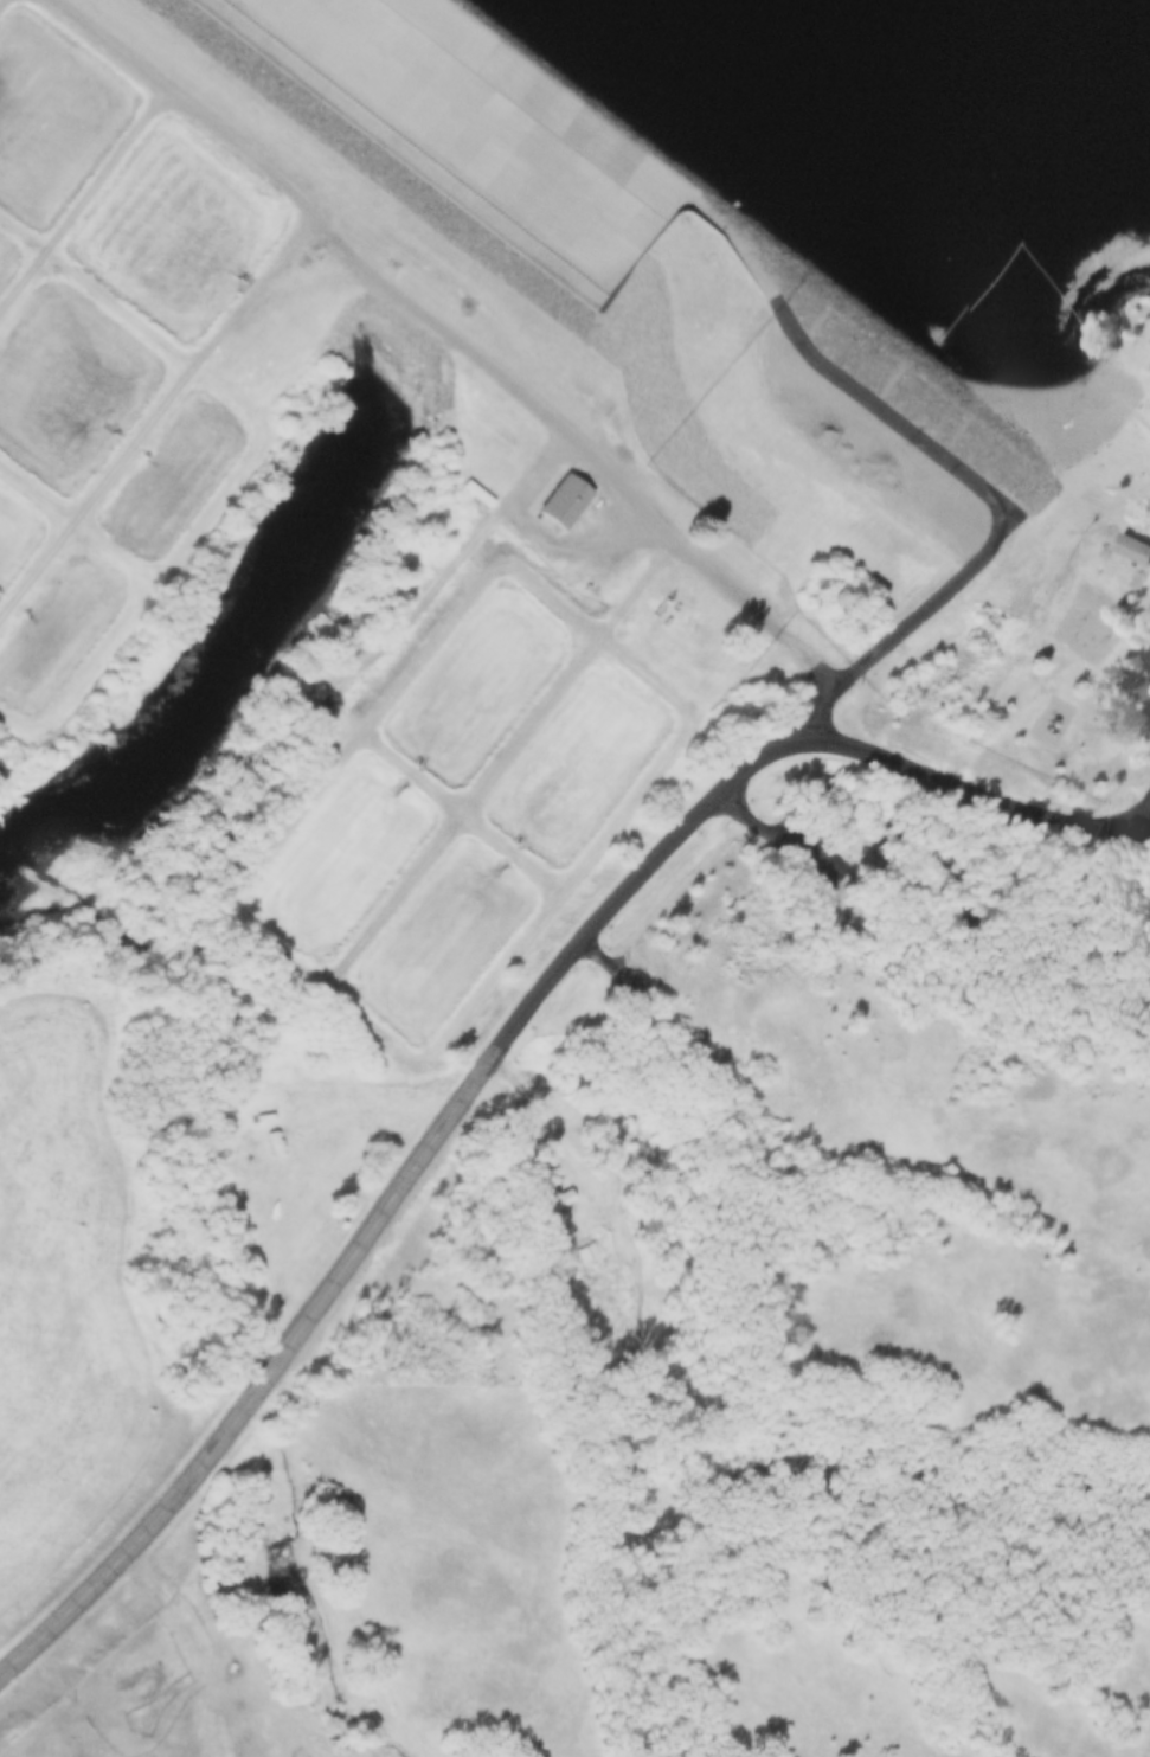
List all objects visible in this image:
dam: (641, 275)
road: (445, 342)
building: (567, 500)
building: (1135, 547)
road: (904, 637)
road: (500, 1053)
building: (564, 1199)
building: (589, 1252)

